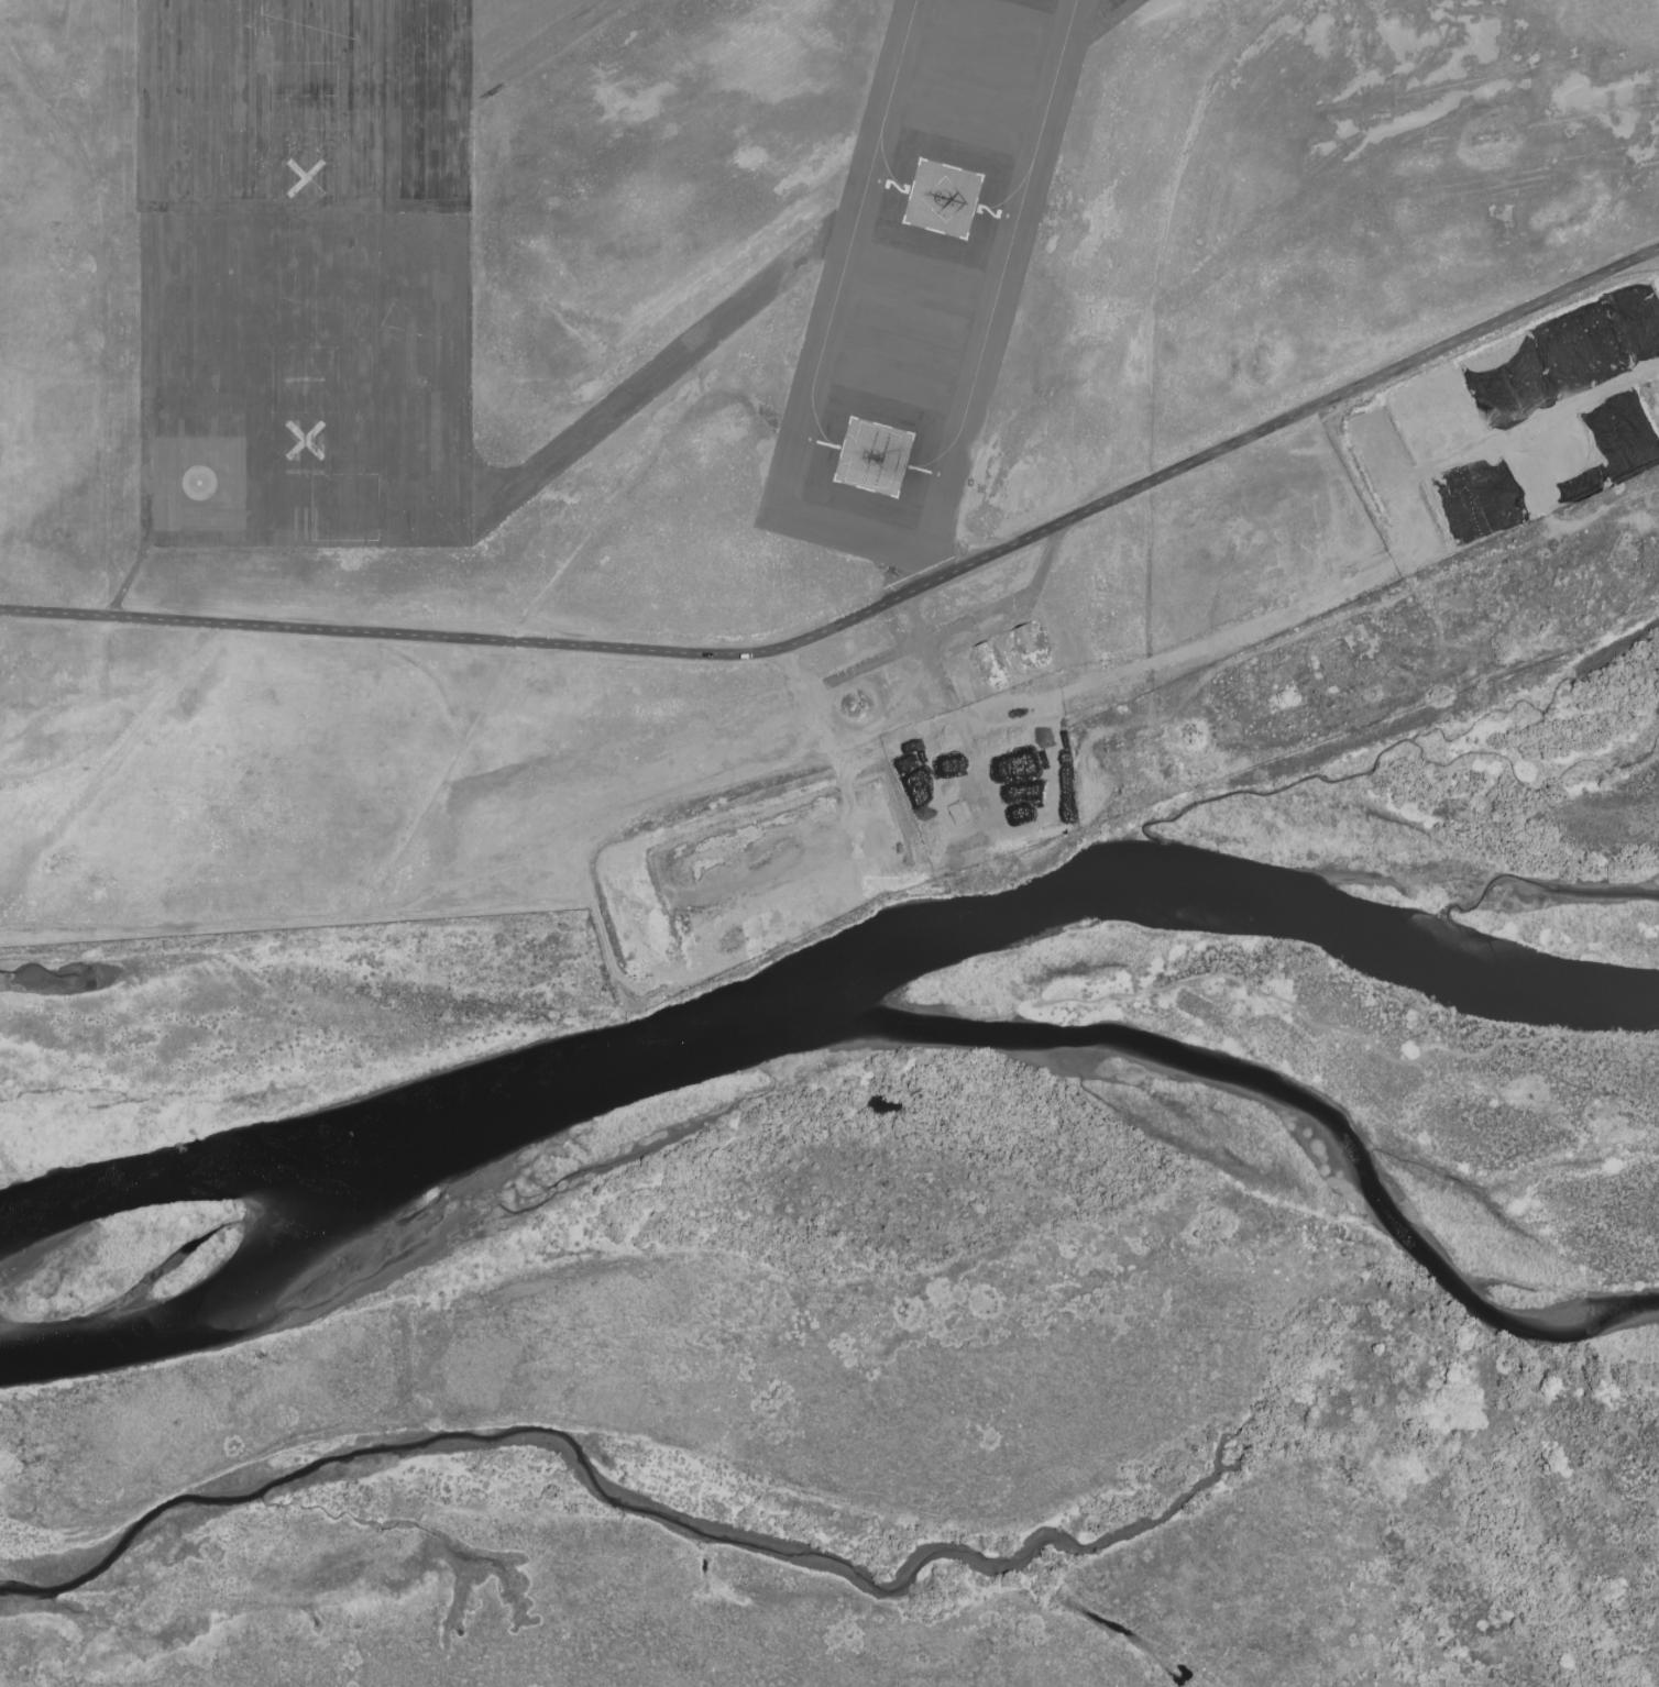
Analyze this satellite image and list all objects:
airport runway: (303, 10)
airport taxiway: (318, 10)
airport taxiway: (1087, 14)
airport taxiway: (882, 170)
airport taxiway: (1006, 196)
helipad: (942, 201)
airport taxiway: (849, 231)
airport taxiway: (1006, 249)
airport runway: (305, 276)
airport taxiway: (595, 416)
airport: (743, 421)
helipad: (872, 460)
road: (865, 615)
road: (959, 621)
road: (951, 710)
road: (820, 734)
road: (425, 900)
river: (1239, 901)
river: (875, 1014)
road: (1340, 1027)

